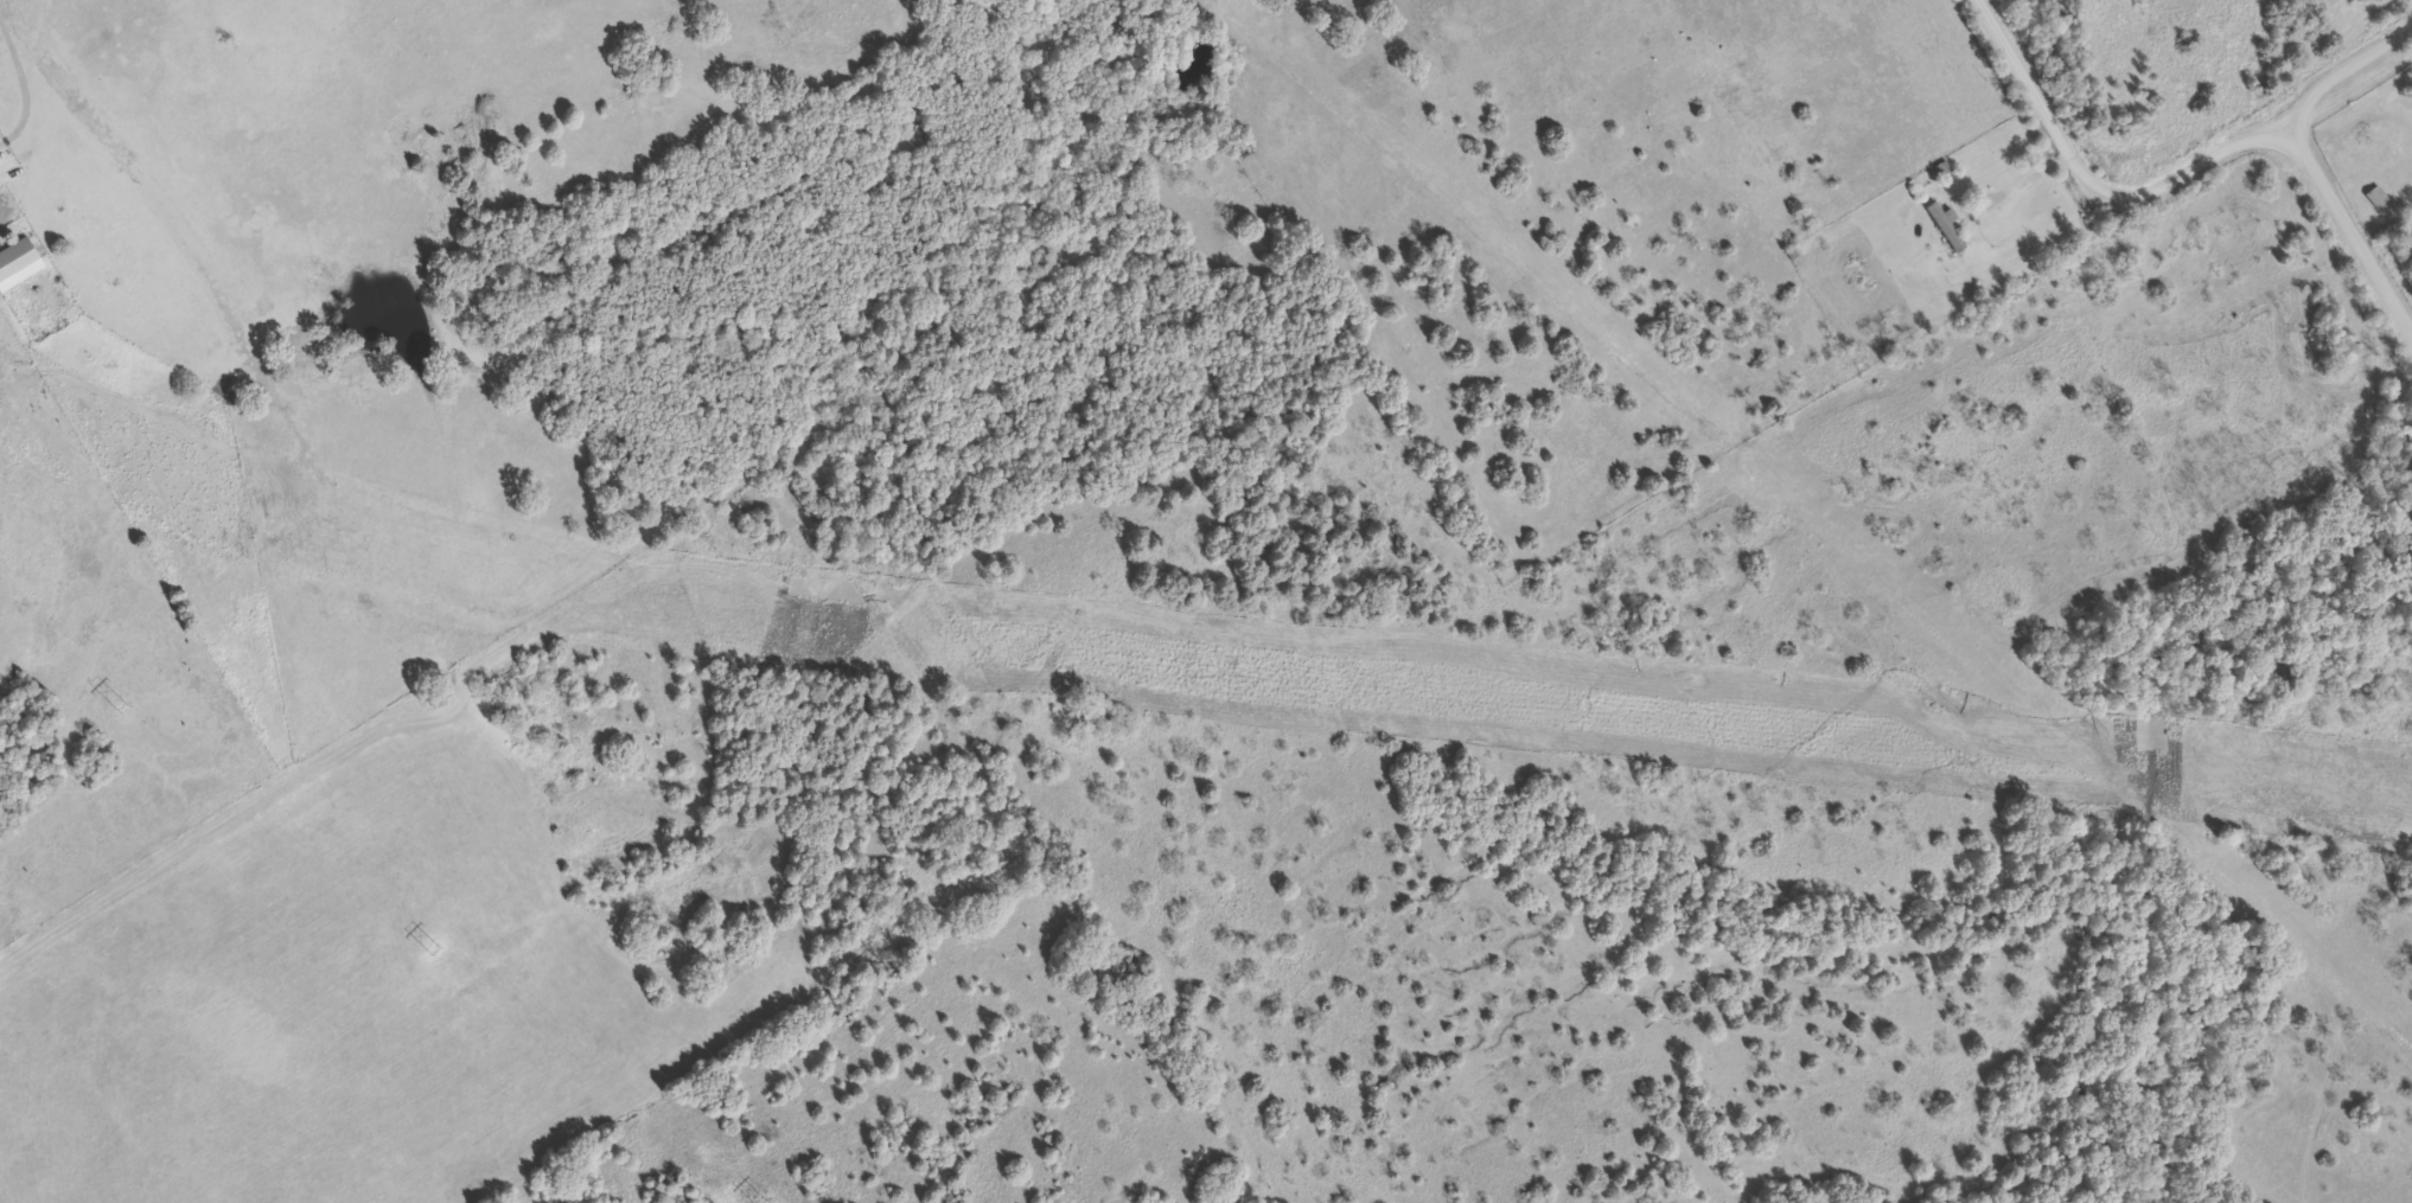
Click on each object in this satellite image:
road: (1380, 38)
road: (2344, 60)
road: (2365, 147)
road: (2094, 174)
road: (1992, 192)
building: (2375, 194)
road: (2346, 220)
building: (1947, 225)
building: (17, 256)
power tower: (120, 702)
power tower: (435, 942)

